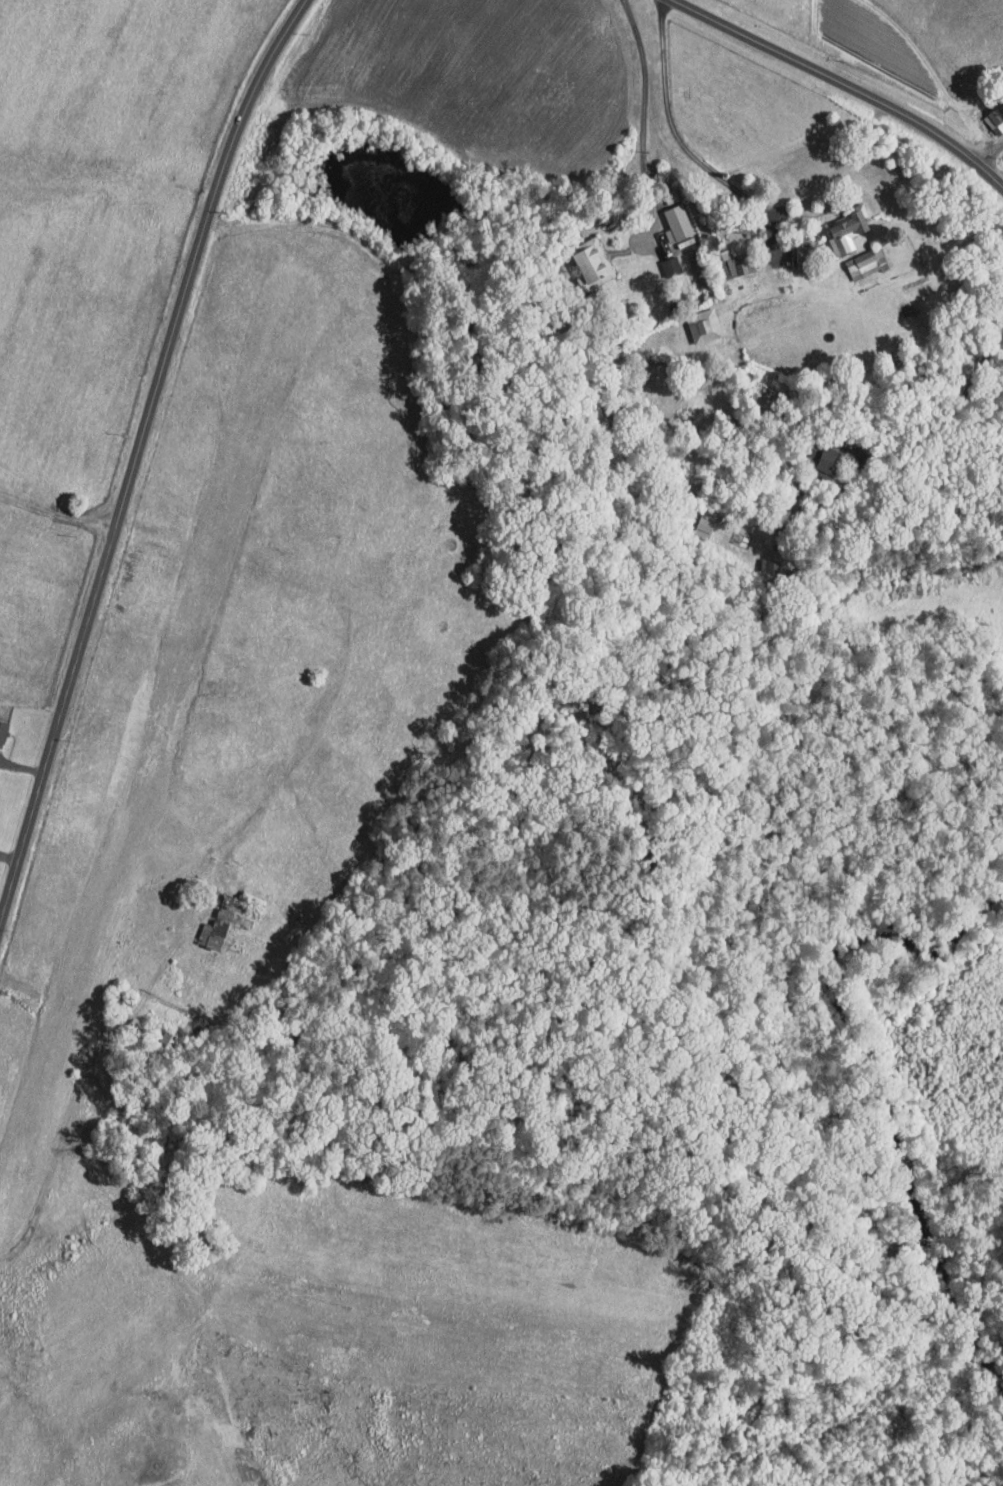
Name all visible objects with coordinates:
road: (843, 86)
road: (644, 109)
building: (986, 113)
road: (673, 127)
road: (987, 152)
building: (666, 217)
building: (838, 224)
building: (787, 250)
building: (583, 256)
building: (855, 256)
building: (728, 258)
building: (693, 319)
road: (948, 414)
road: (136, 454)
building: (816, 456)
road: (353, 587)
airport runway: (151, 733)
building: (208, 917)
road: (95, 984)

